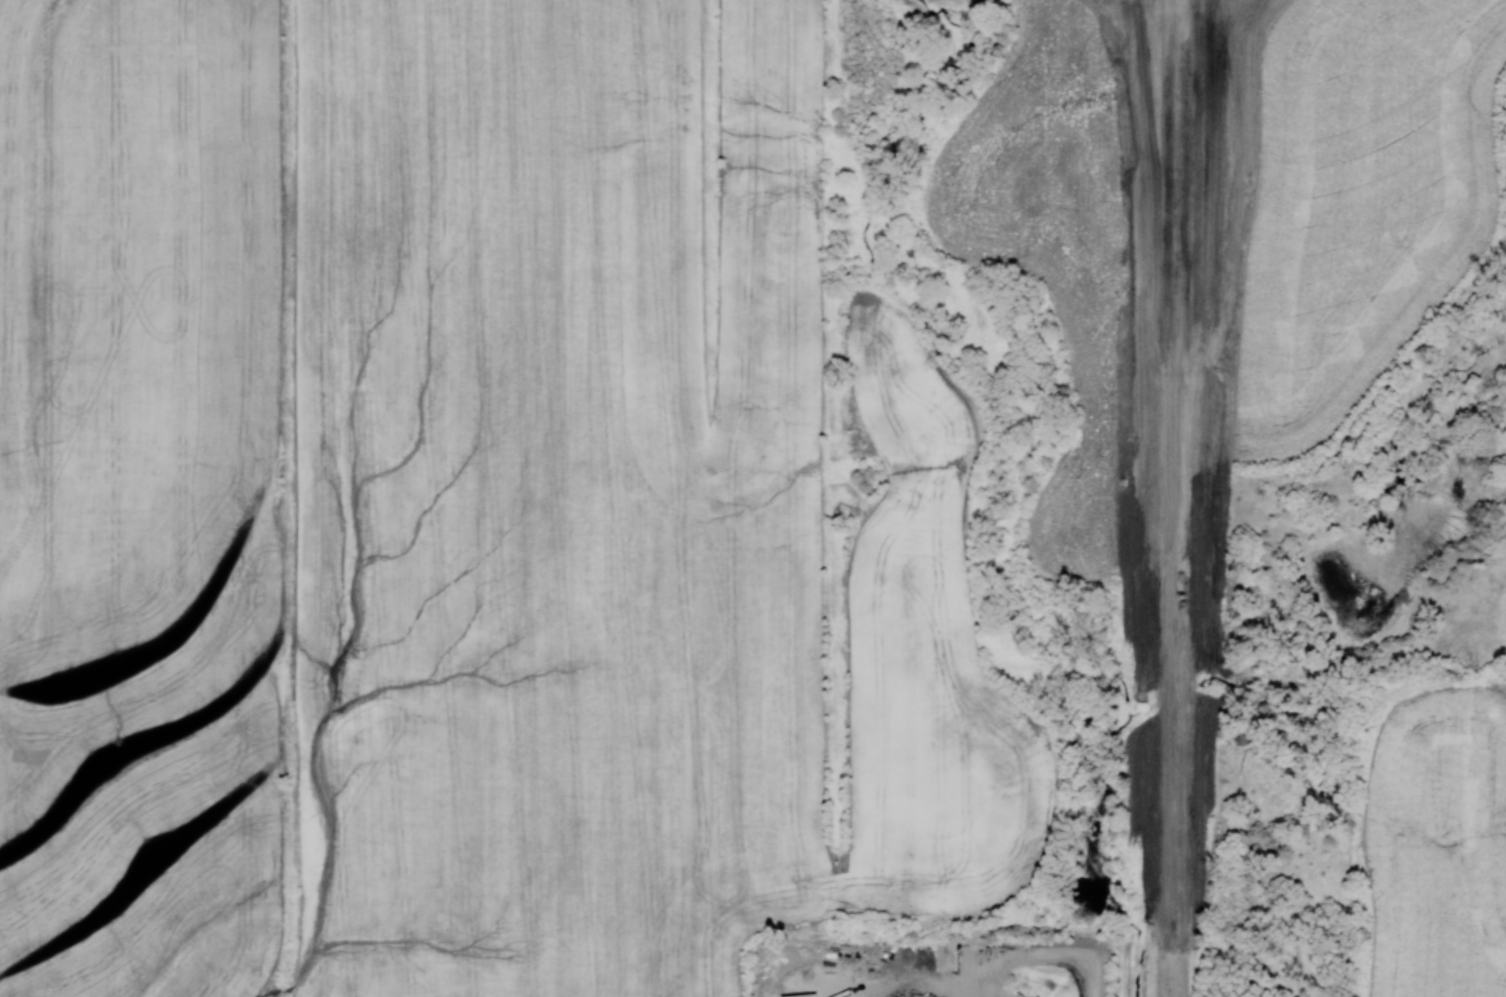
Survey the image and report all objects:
road: (1187, 38)
road: (1174, 39)
road: (1177, 537)

